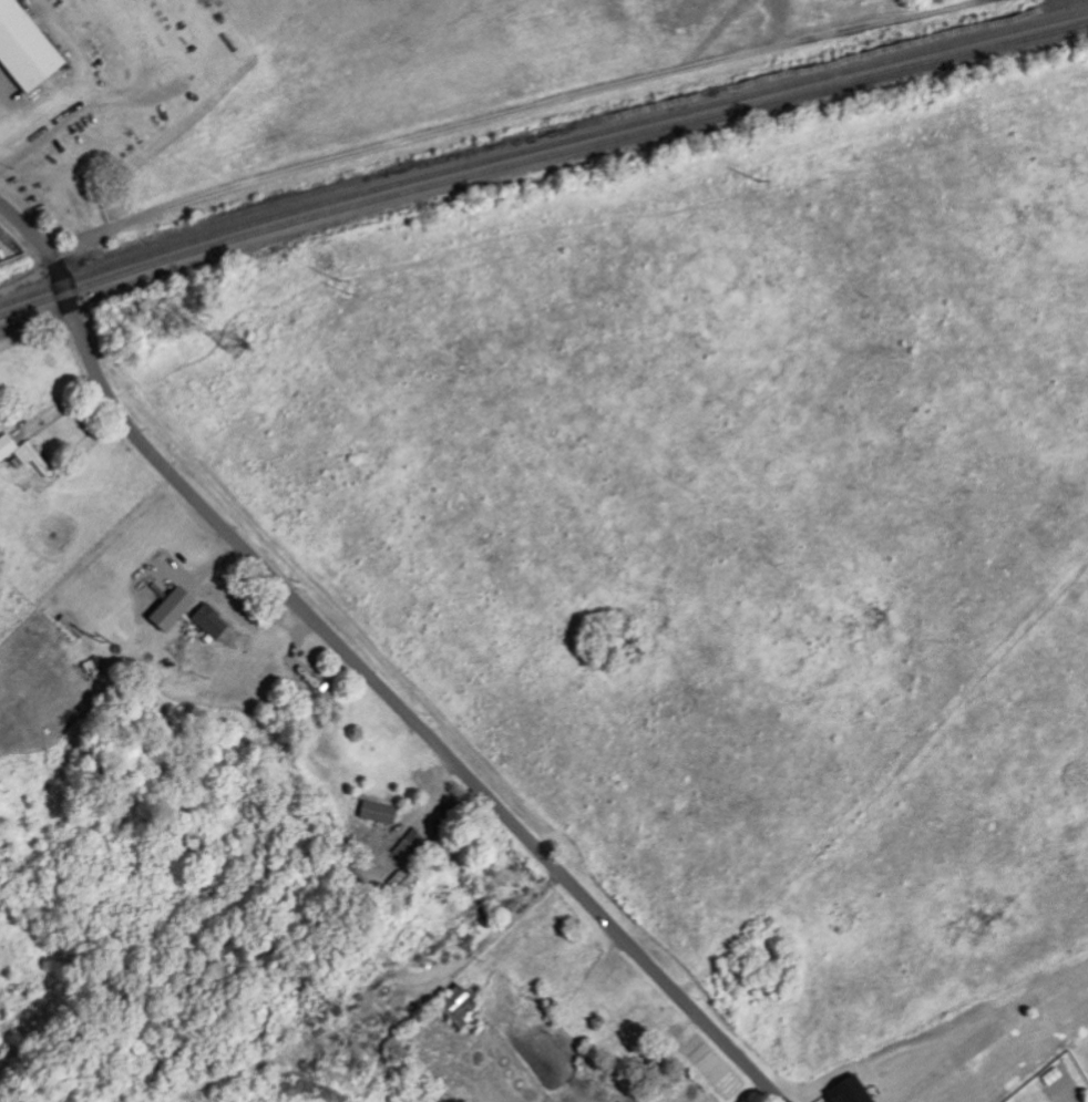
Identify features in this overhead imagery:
building: (23, 49)
road: (10, 114)
road: (39, 116)
railway: (540, 146)
railway: (540, 158)
power tower: (234, 344)
building: (24, 453)
building: (214, 620)
road: (365, 668)
building: (382, 812)
building: (412, 845)
building: (464, 1006)
crop: (972, 1044)
building: (1055, 1077)
building: (855, 1091)

